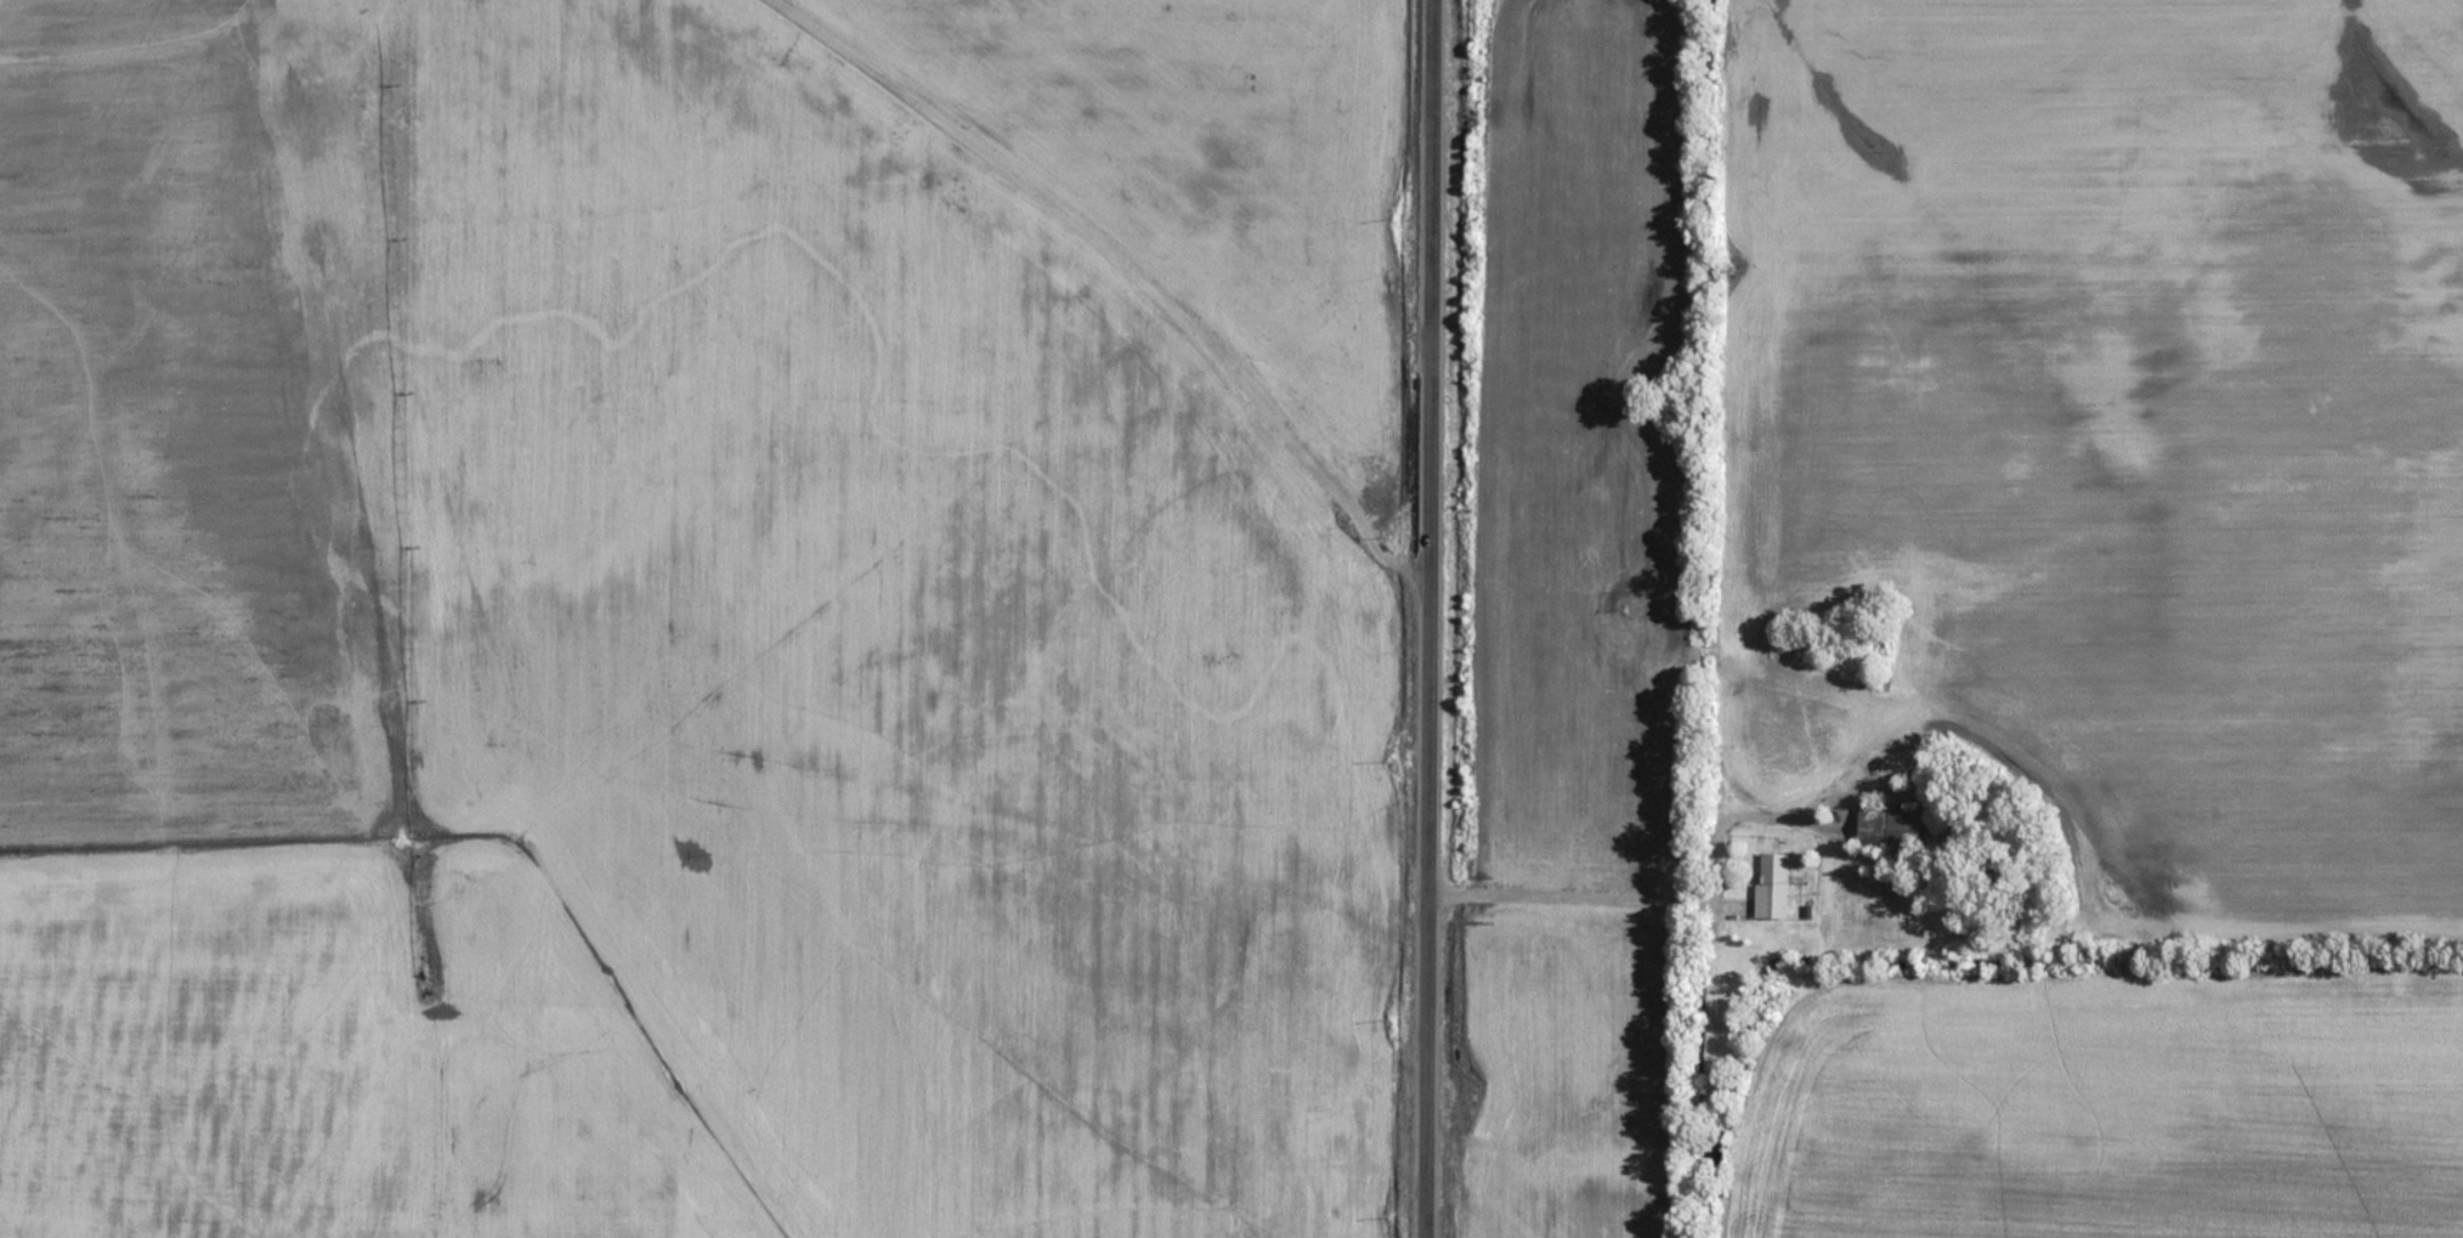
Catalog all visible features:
road: (1119, 261)
road: (1420, 618)
road: (1750, 622)
building: (1794, 645)
road: (1712, 759)
road: (505, 822)
building: (1892, 829)
building: (1774, 886)
road: (1563, 894)

